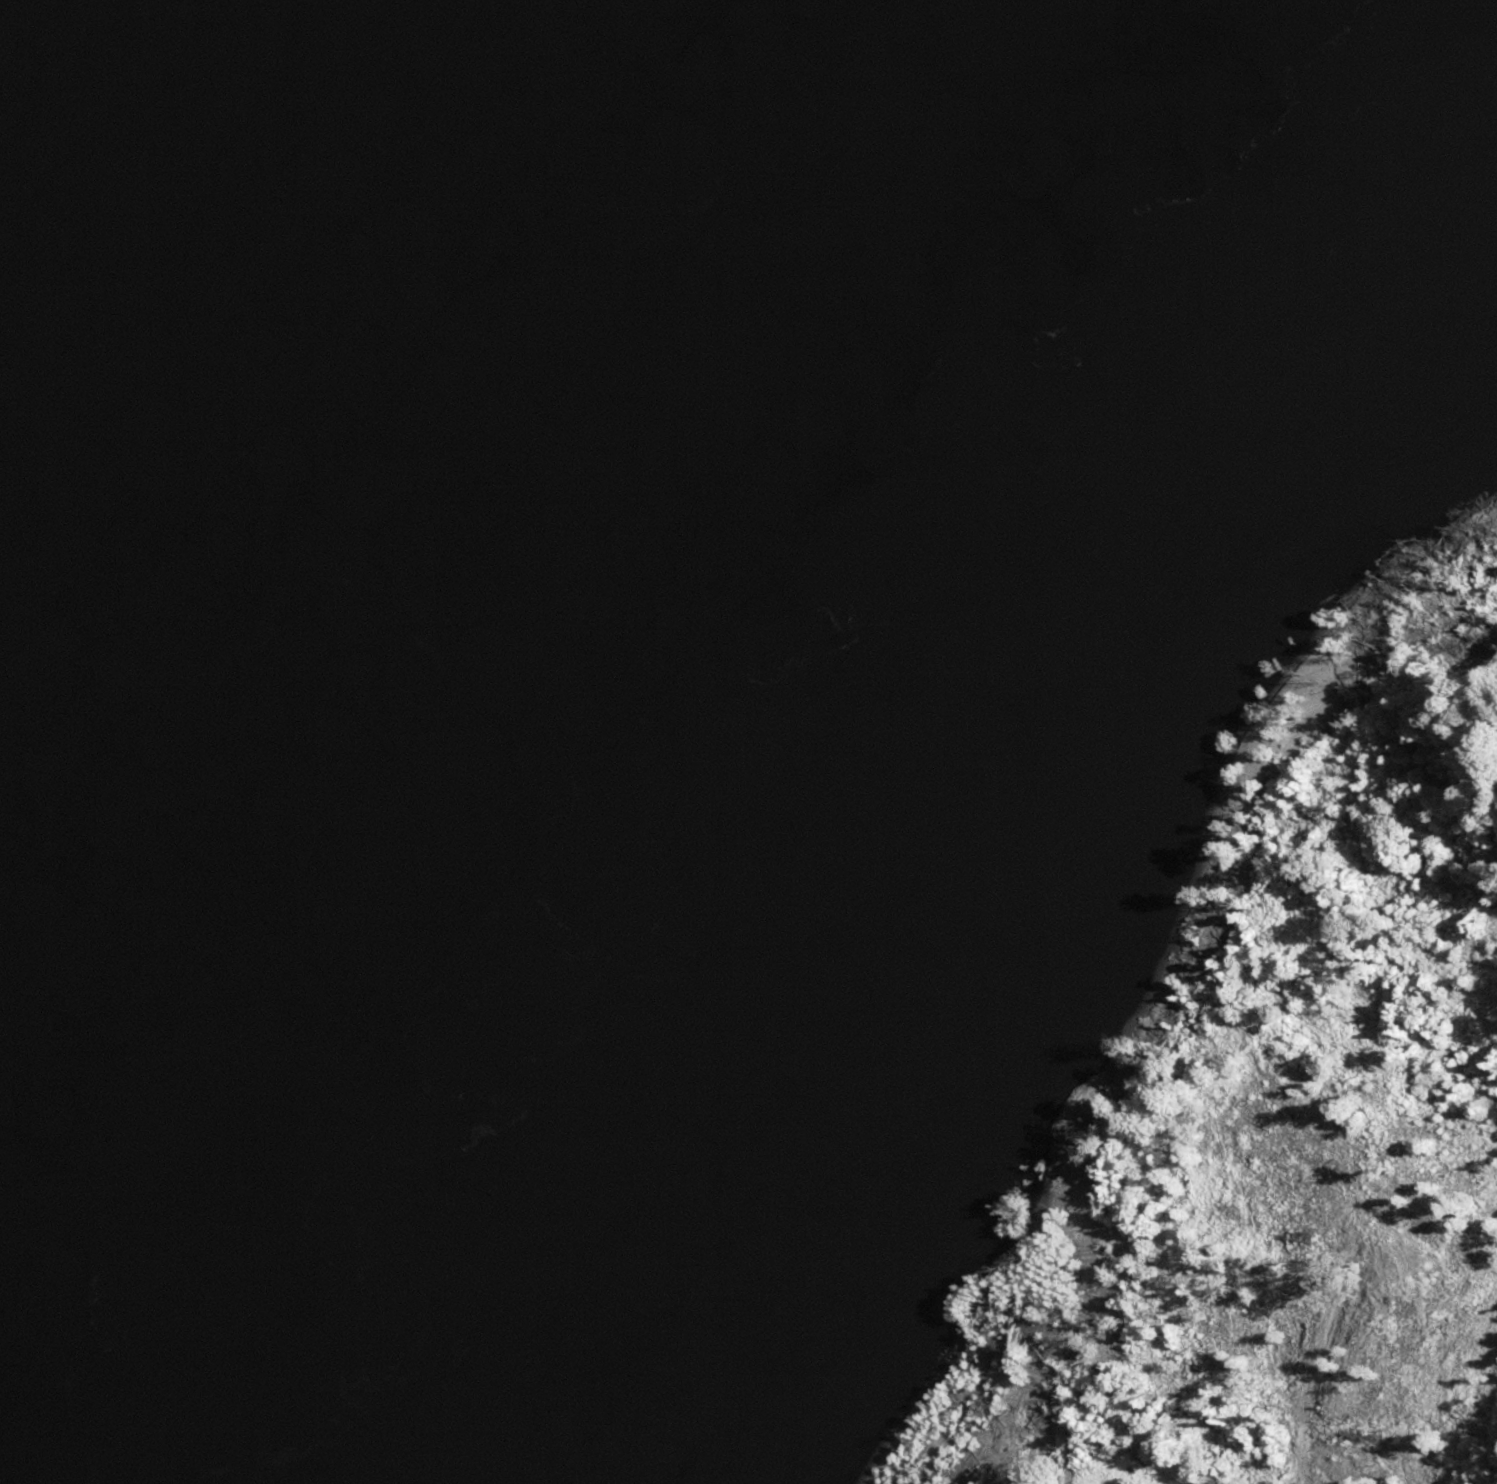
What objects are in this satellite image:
river: (505, 624)

